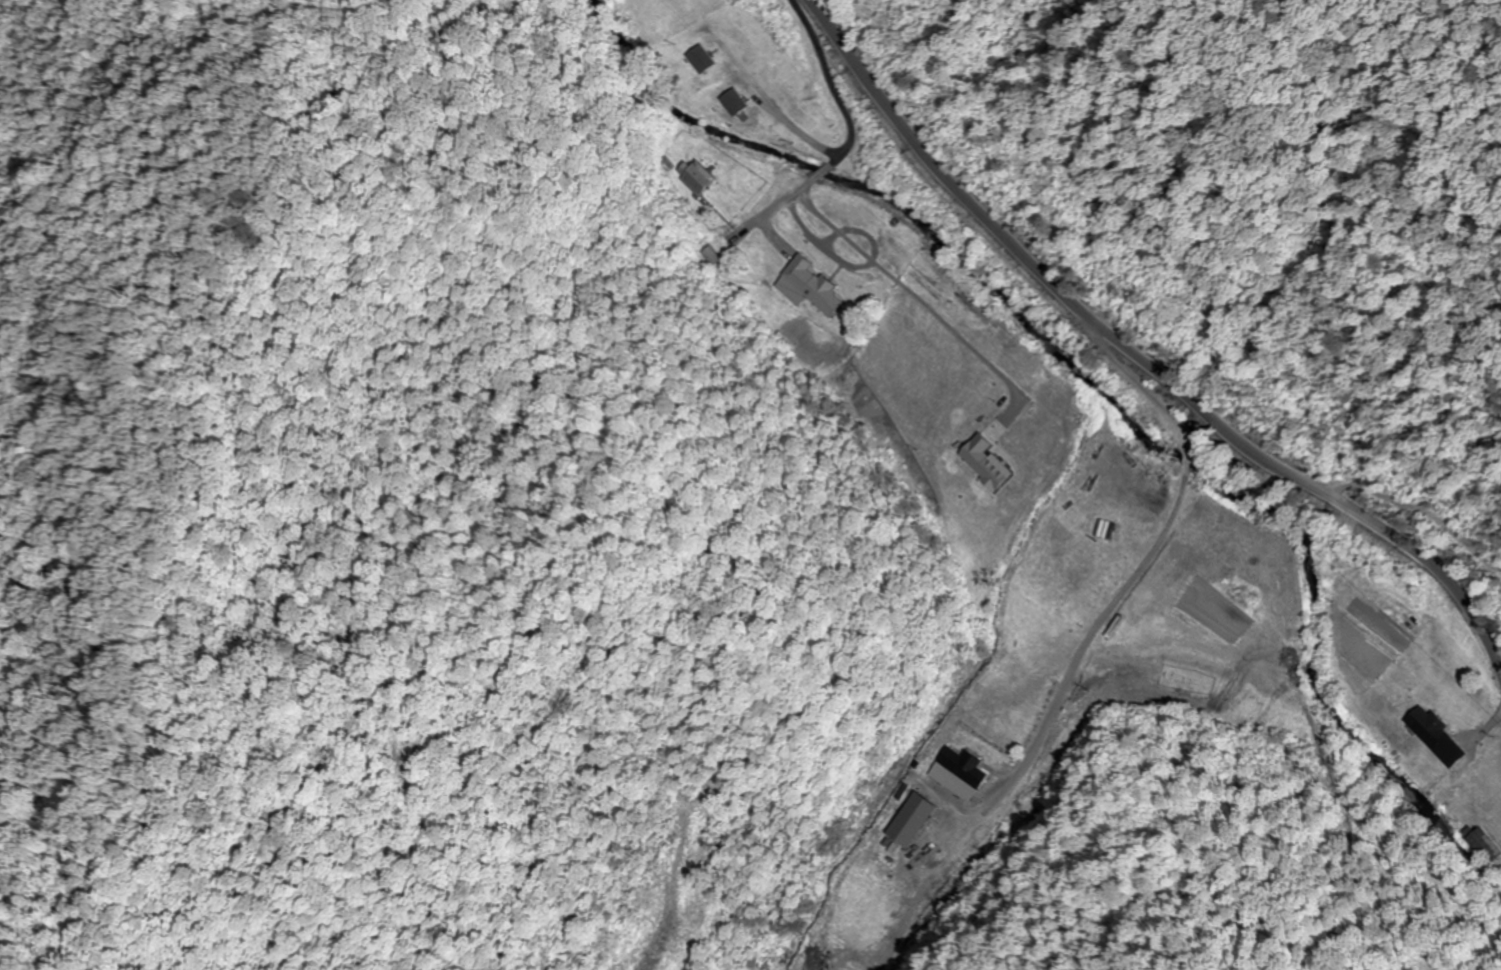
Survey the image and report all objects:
building: (702, 58)
building: (735, 101)
building: (694, 175)
road: (758, 282)
building: (806, 285)
road: (1142, 357)
road: (1163, 564)
building: (1436, 734)
building: (957, 771)
building: (909, 819)
building: (1485, 841)

